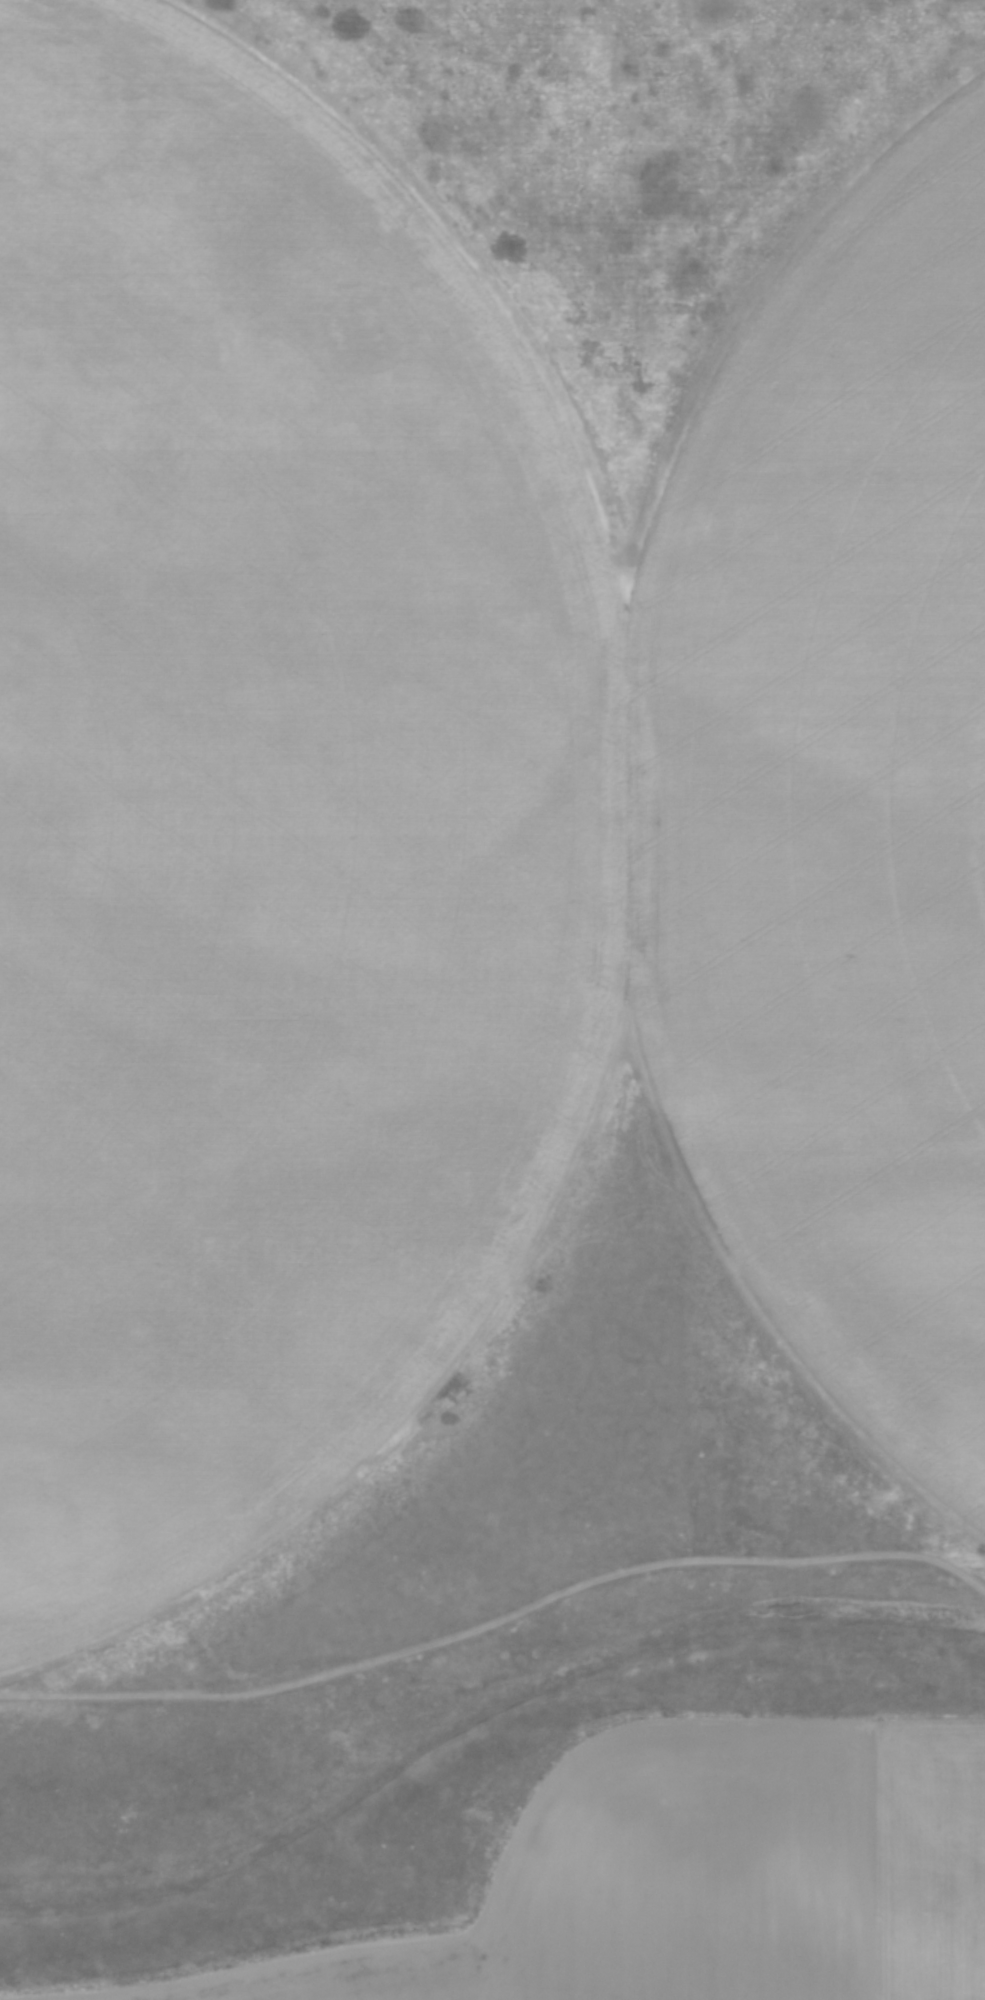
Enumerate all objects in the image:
crop: (443, 798)
crop: (723, 1878)

